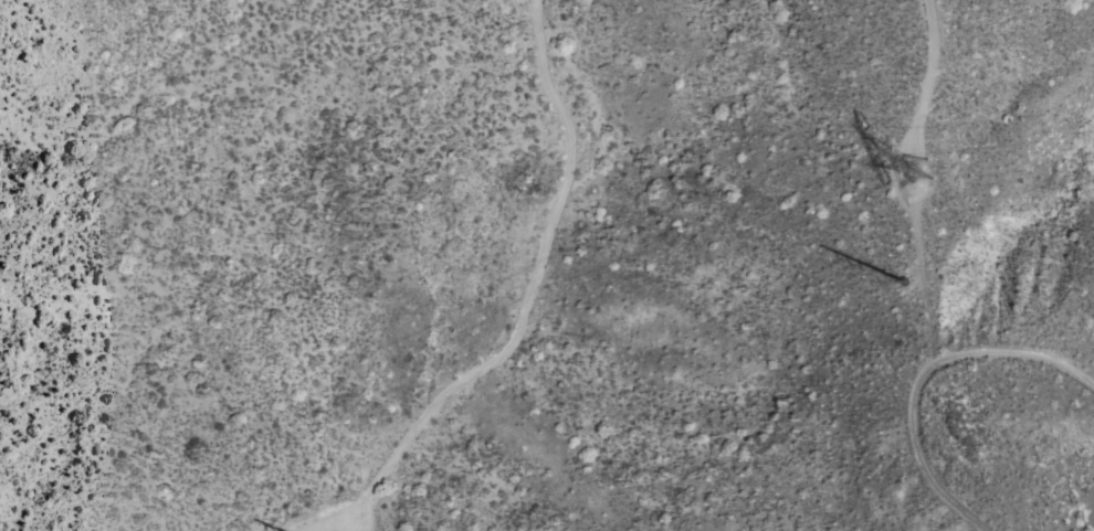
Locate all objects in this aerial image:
power tower: (909, 176)

